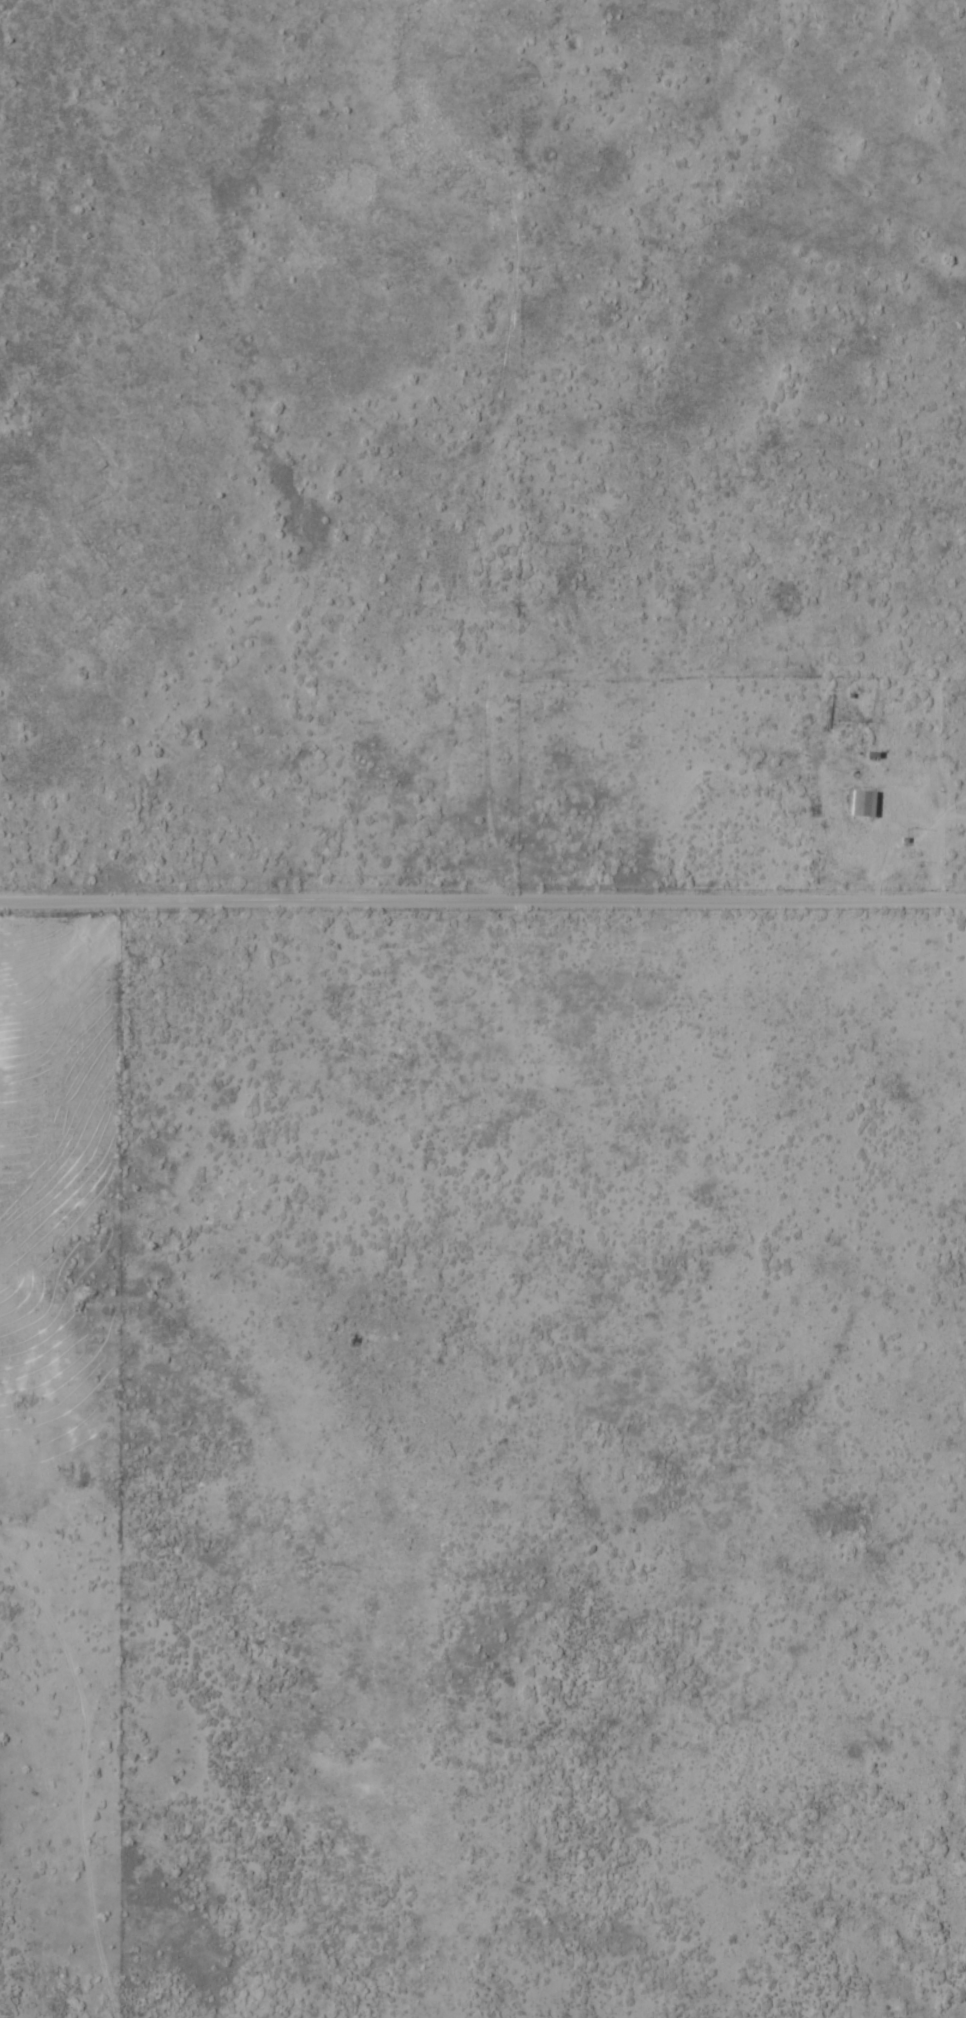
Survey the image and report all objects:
building: (860, 802)
road: (483, 899)

